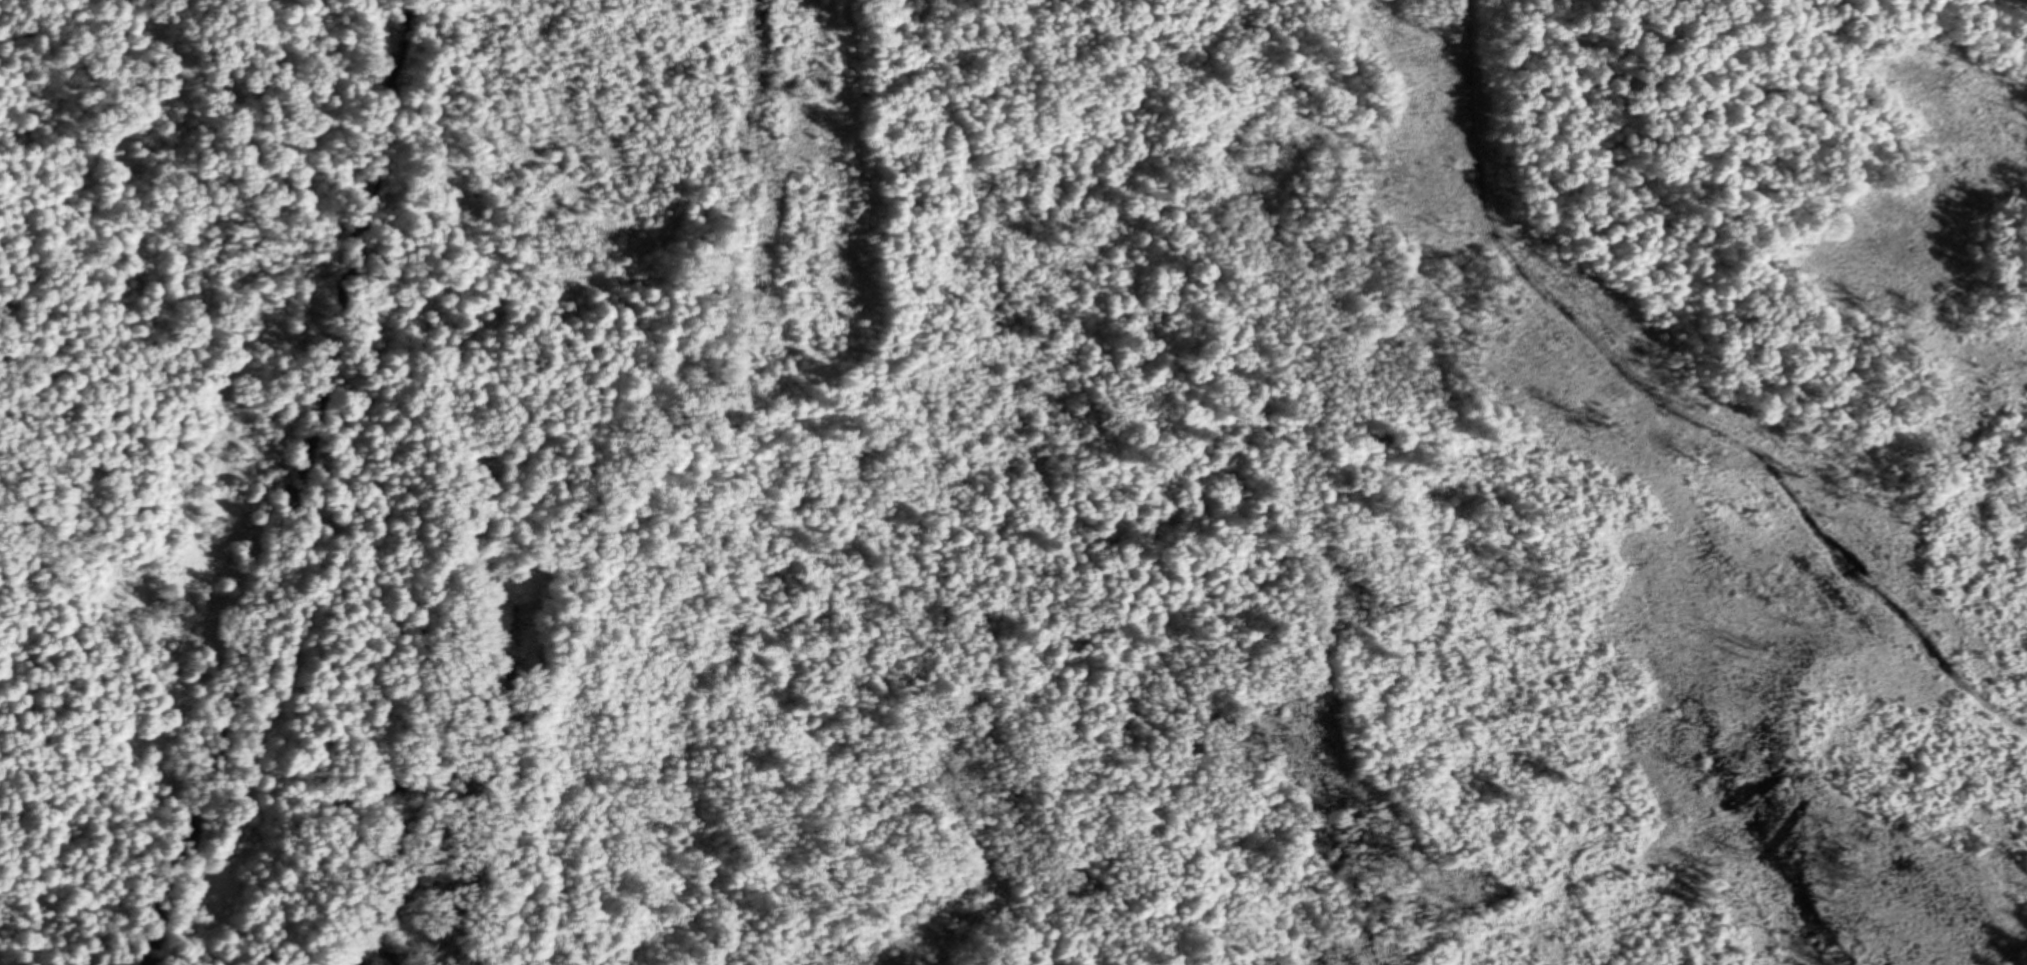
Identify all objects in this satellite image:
road: (251, 347)

